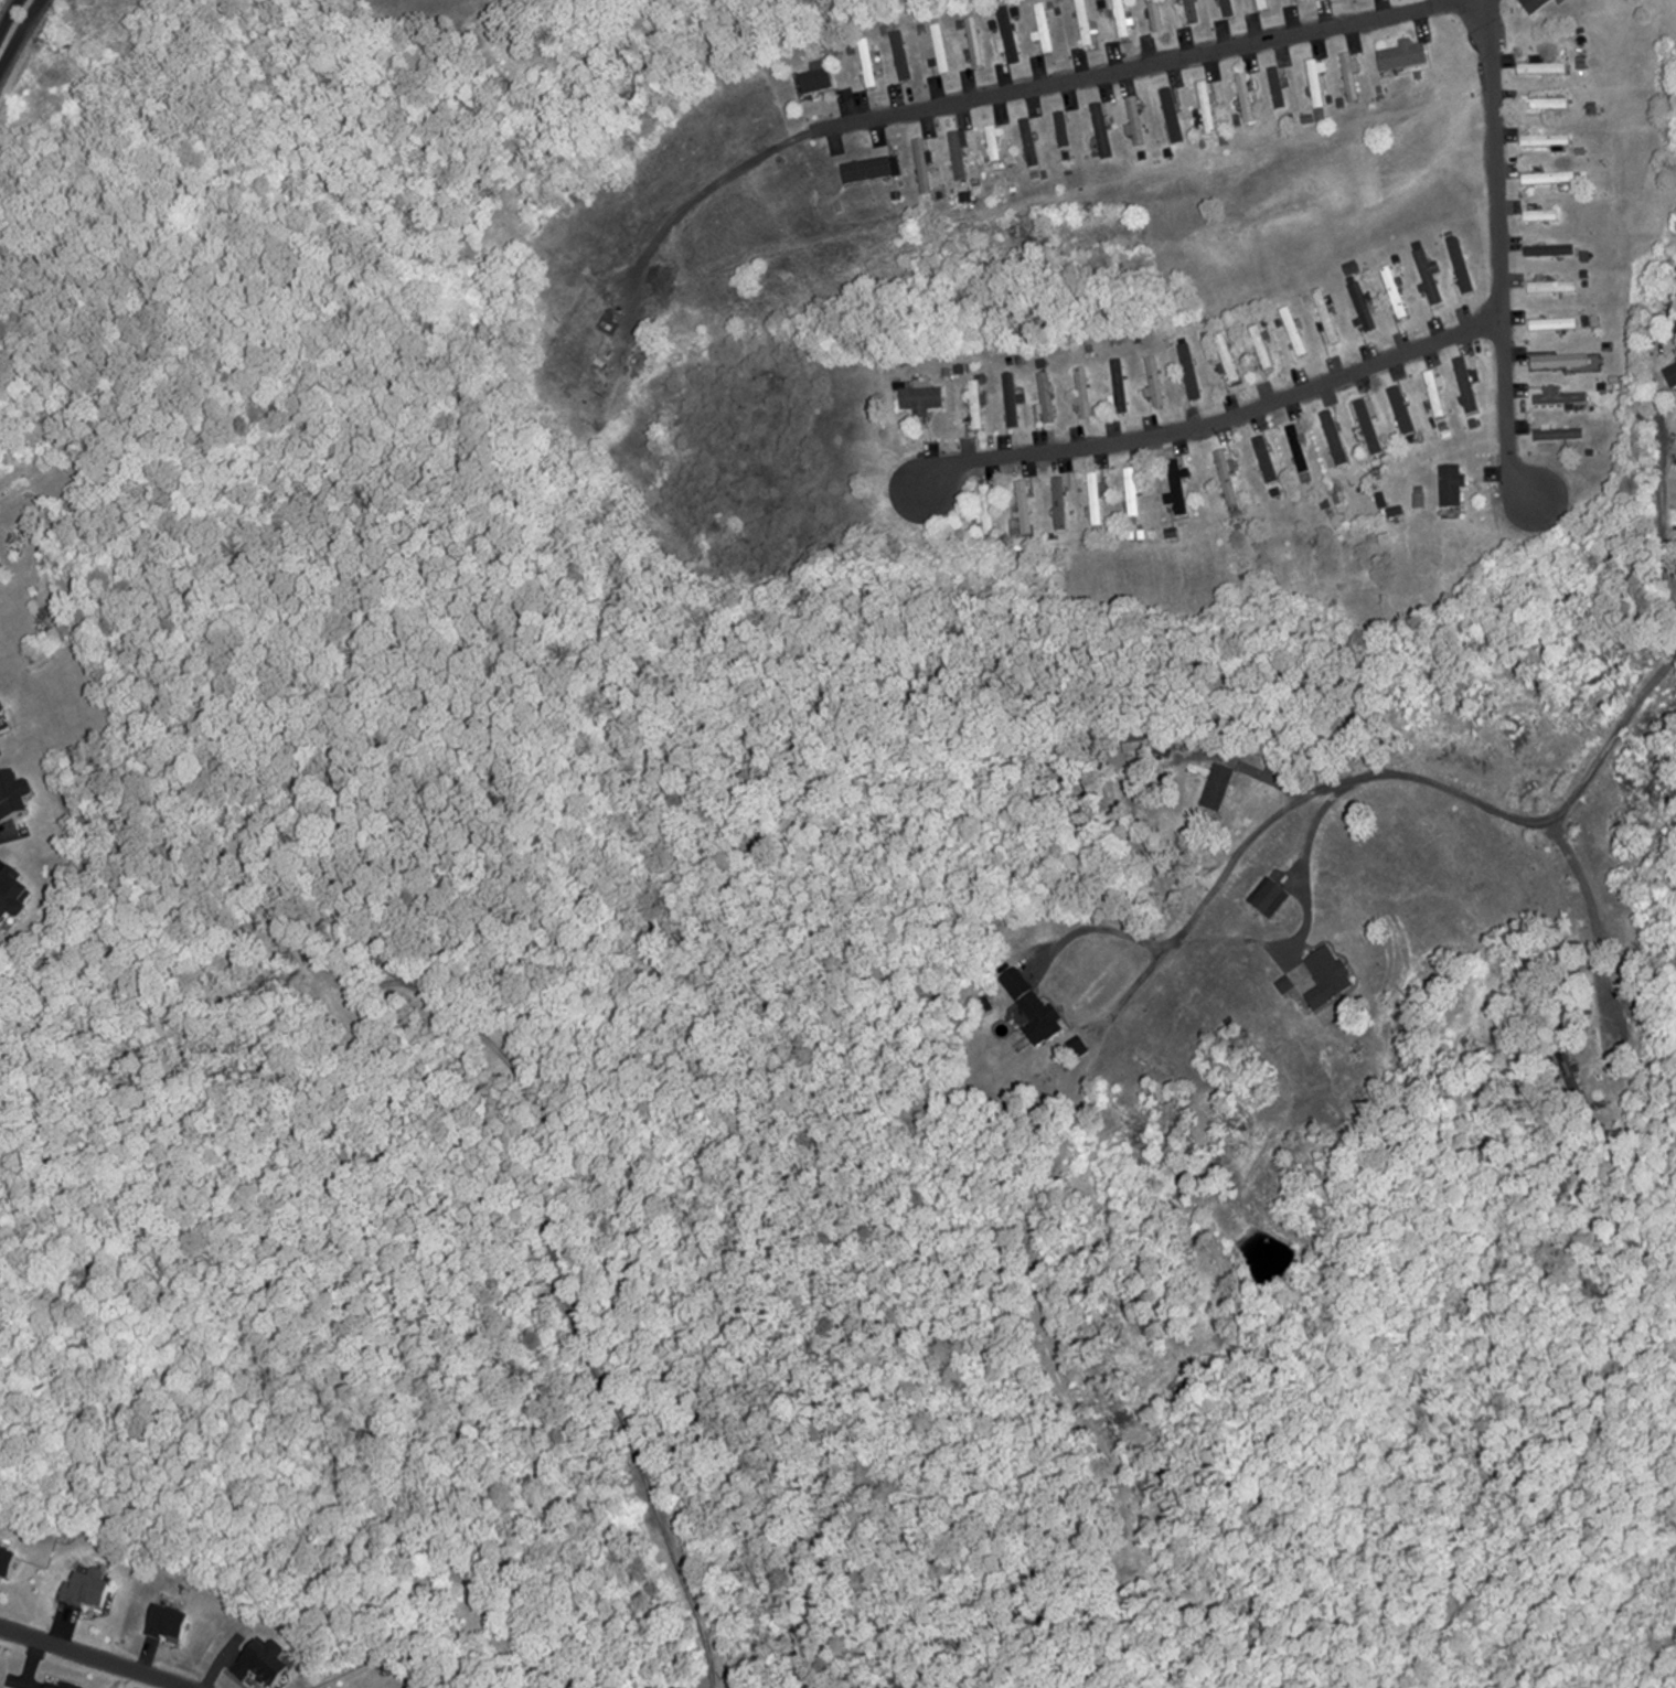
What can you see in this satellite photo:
road: (17, 28)
road: (1133, 66)
road: (1499, 248)
road: (1215, 419)
road: (1661, 494)
road: (1309, 886)
road: (1217, 901)
road: (1593, 920)
road: (1107, 933)
road: (95, 1656)

